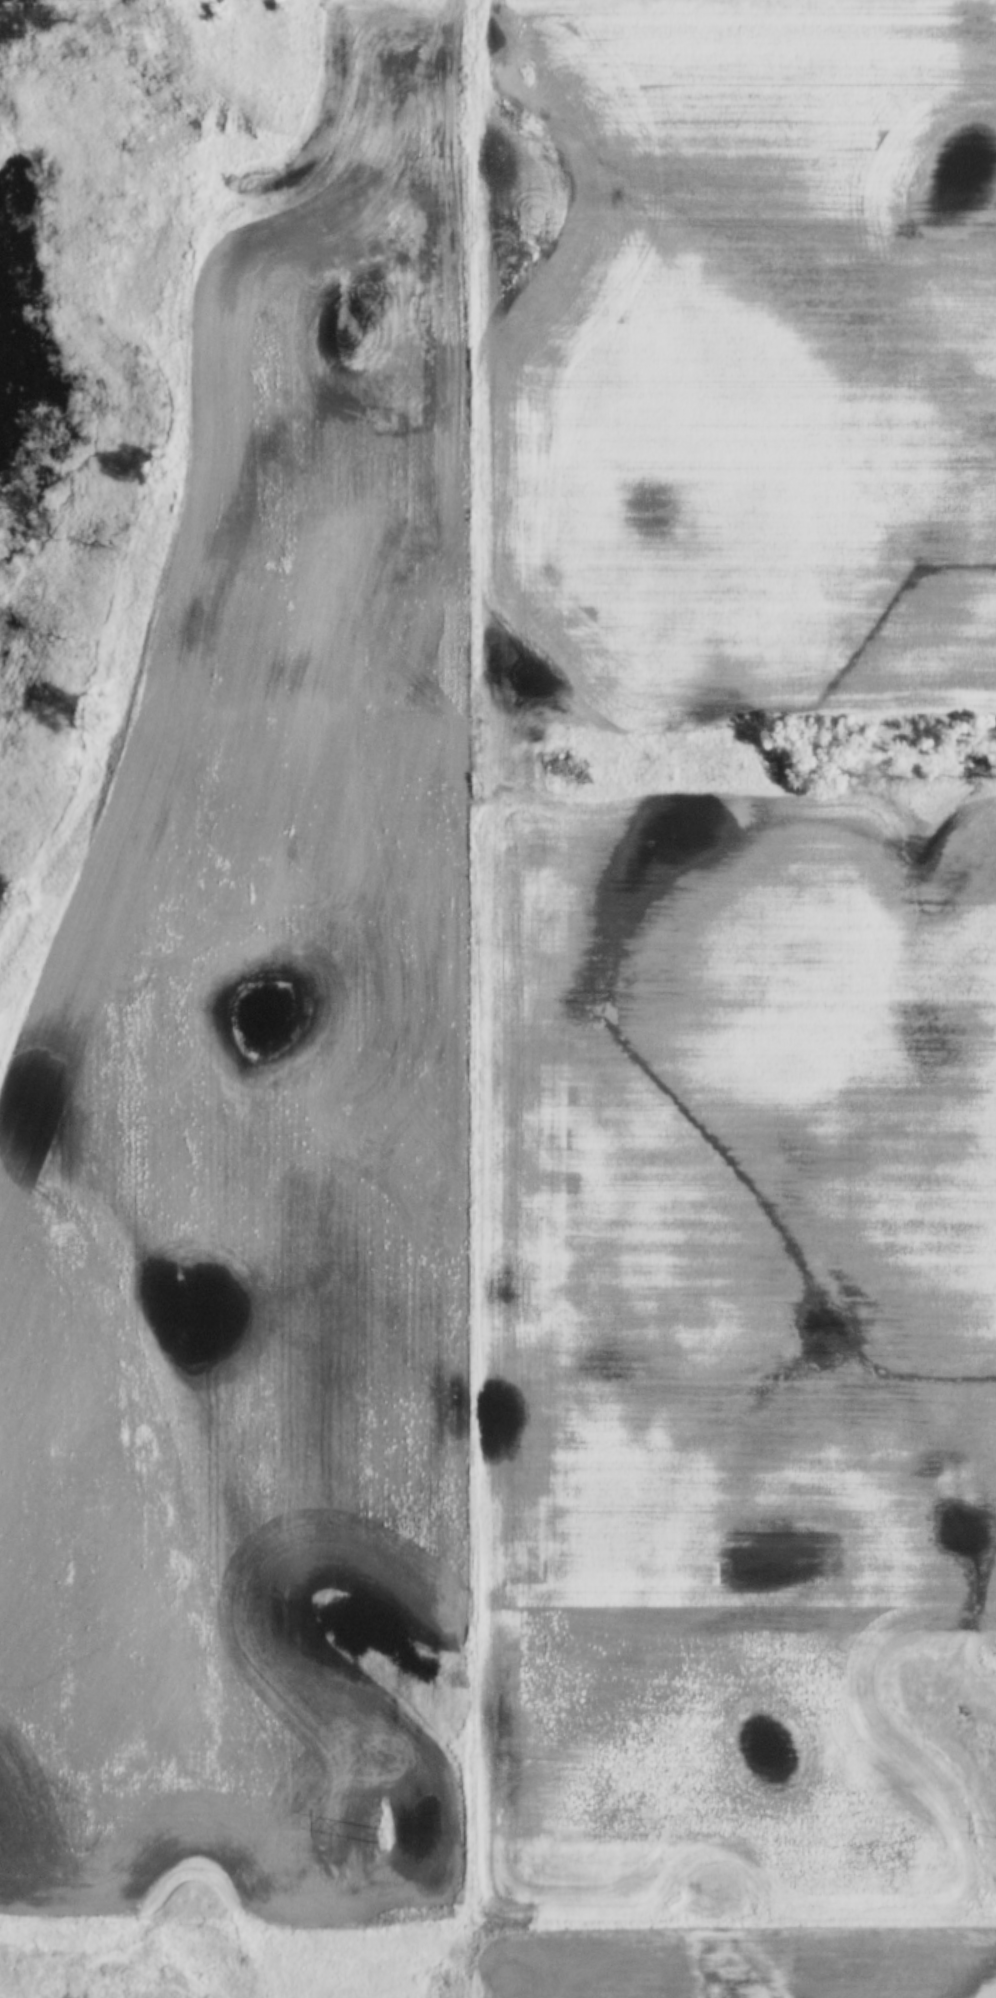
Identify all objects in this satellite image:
crop: (734, 362)
crop: (262, 1119)
crop: (738, 1370)
power tower: (379, 1832)
crop: (735, 1963)

